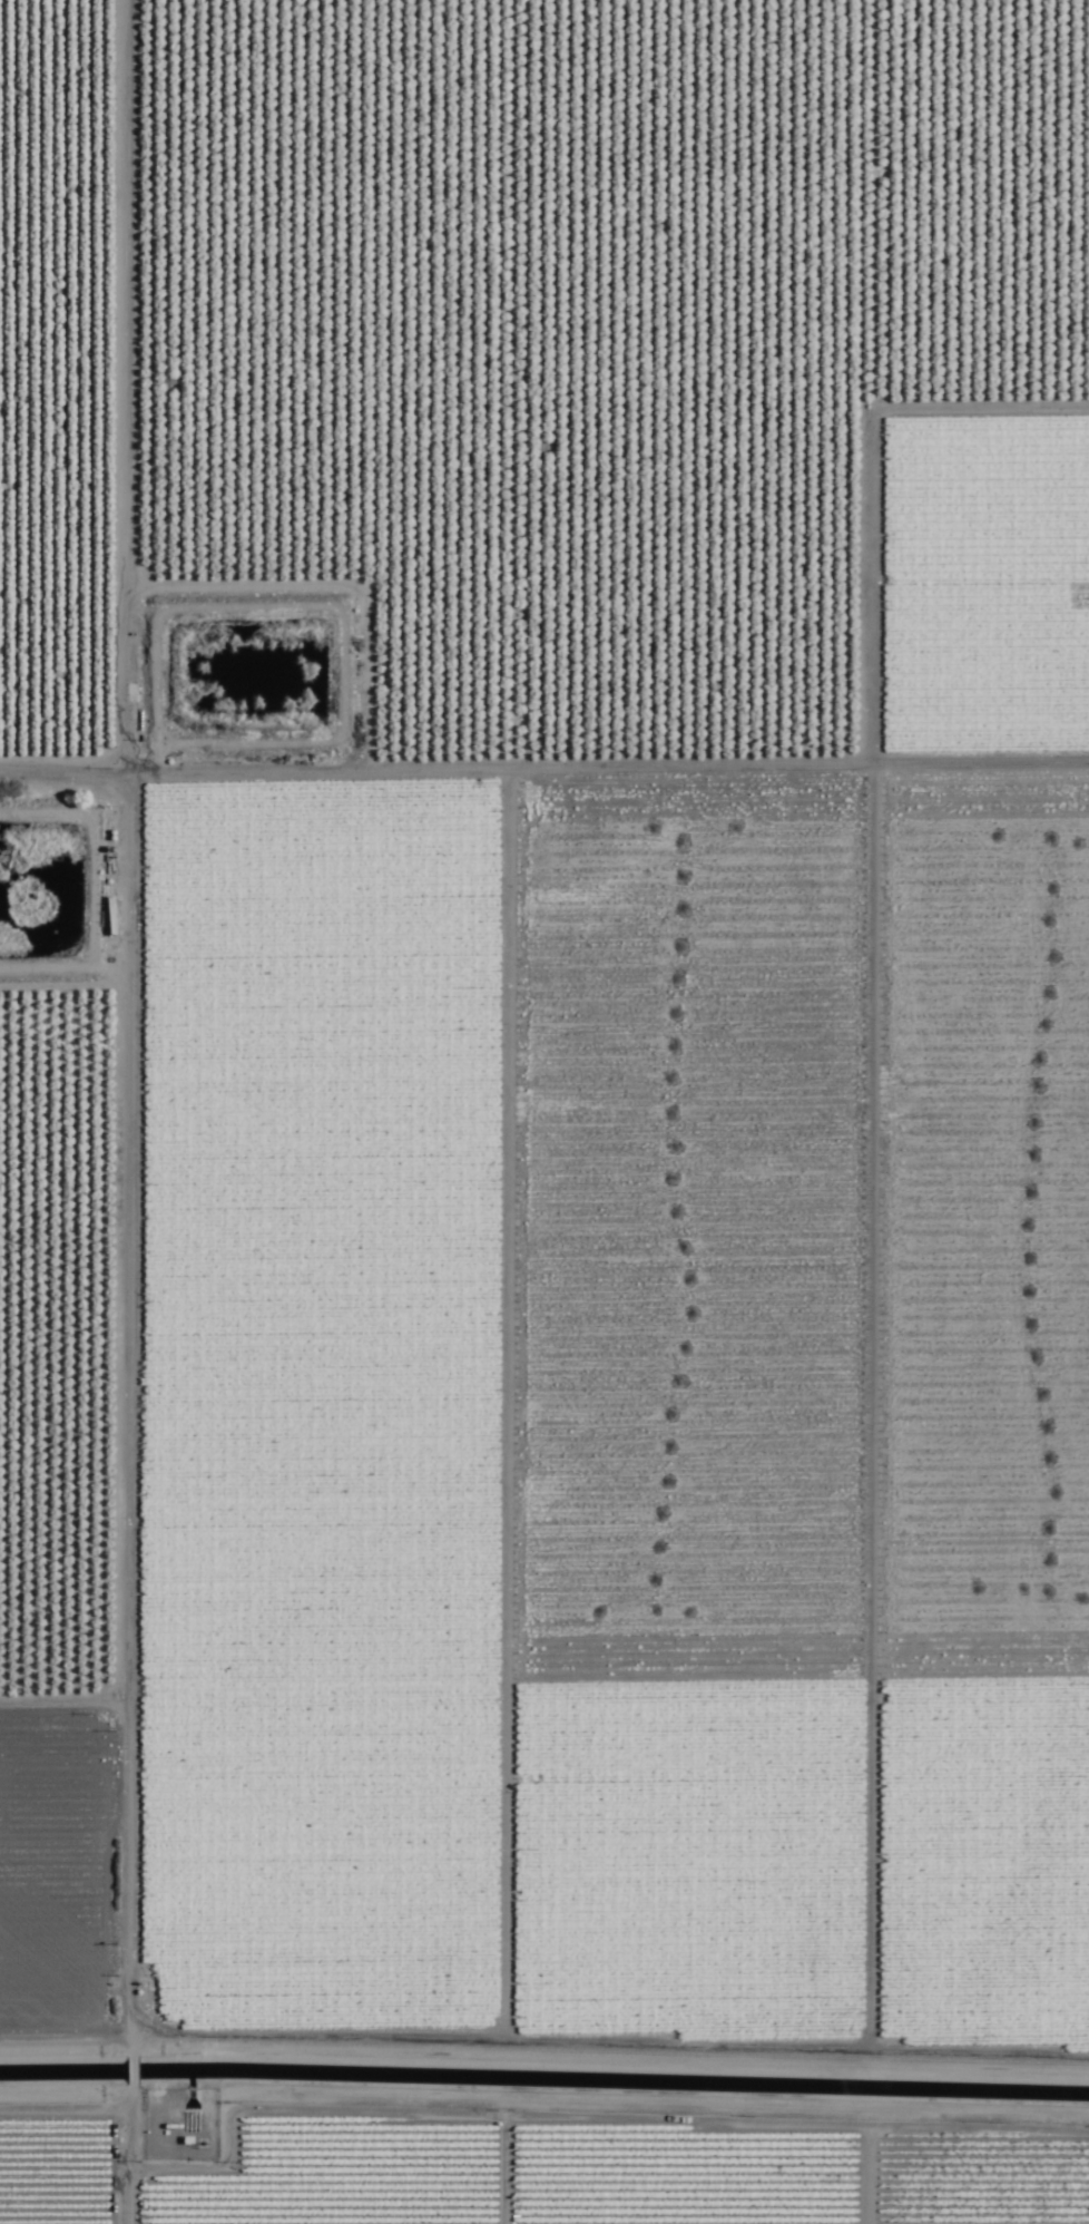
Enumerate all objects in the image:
road: (1004, 369)
wastewater plant: (249, 677)
road: (544, 759)
wastewater plant: (42, 889)
road: (87, 1112)
crop: (544, 1112)
road: (197, 1239)

